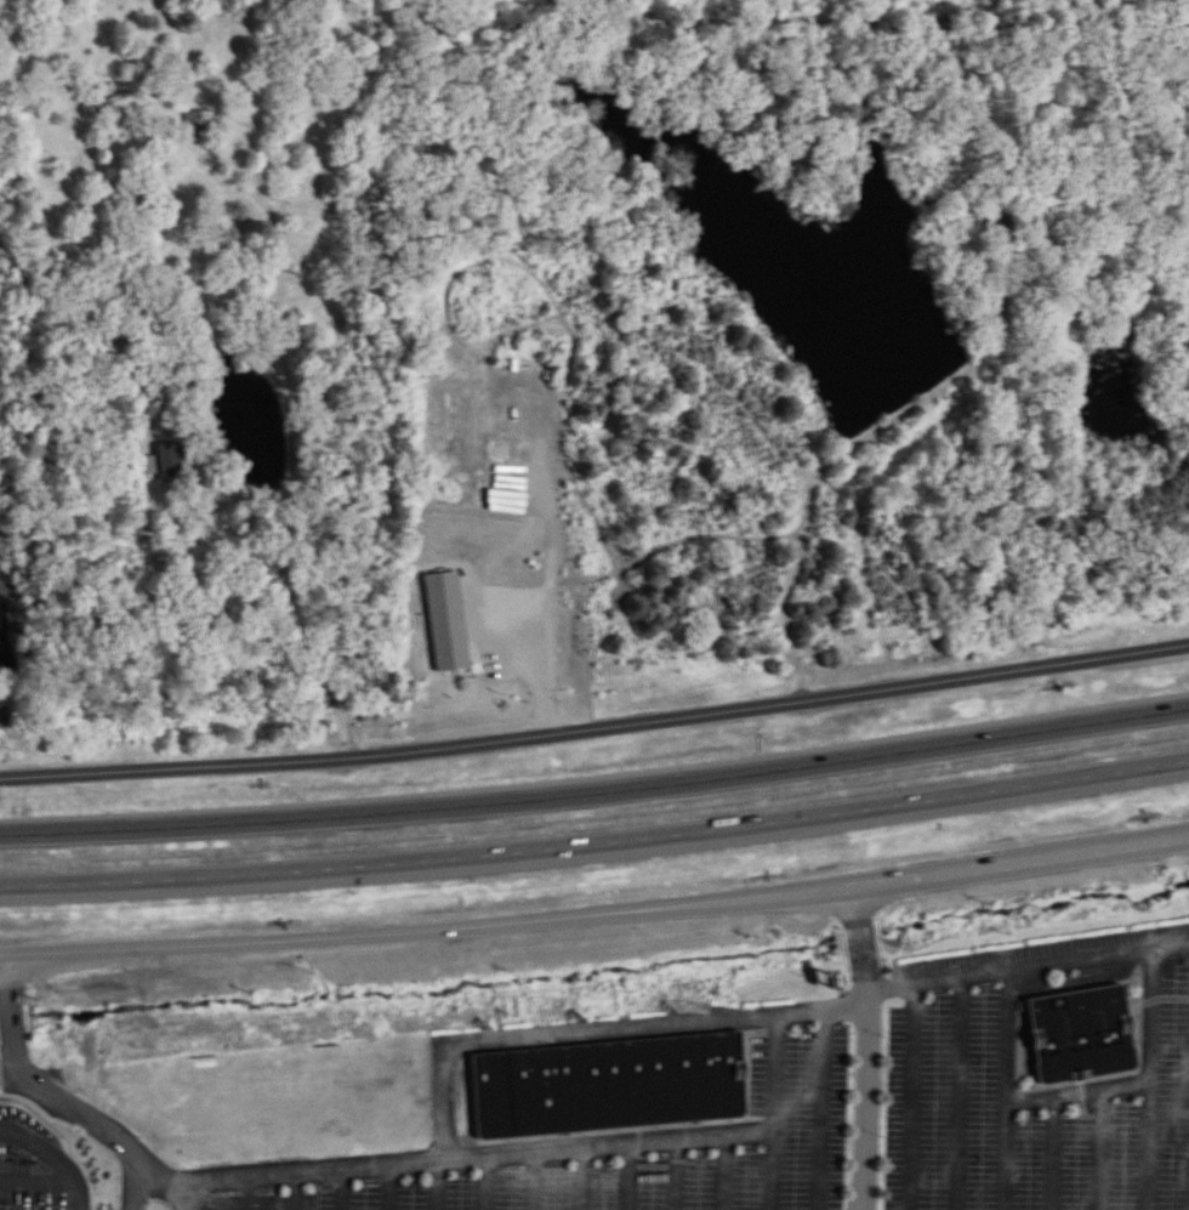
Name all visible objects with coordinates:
building: (109, 106)
building: (200, 123)
road: (281, 386)
building: (171, 462)
road: (545, 623)
building: (450, 647)
road: (596, 711)
building: (2, 717)
road: (596, 791)
road: (594, 840)
road: (597, 914)
road: (1026, 964)
building: (1079, 1036)
road: (17, 1070)
road: (1144, 1076)
building: (609, 1085)
road: (1009, 1087)
road: (863, 1106)
road: (1150, 1142)
road: (485, 1154)
road: (52, 1158)
road: (764, 1169)
road: (533, 1180)
road: (135, 1182)
road: (346, 1187)
road: (297, 1189)
road: (187, 1193)

